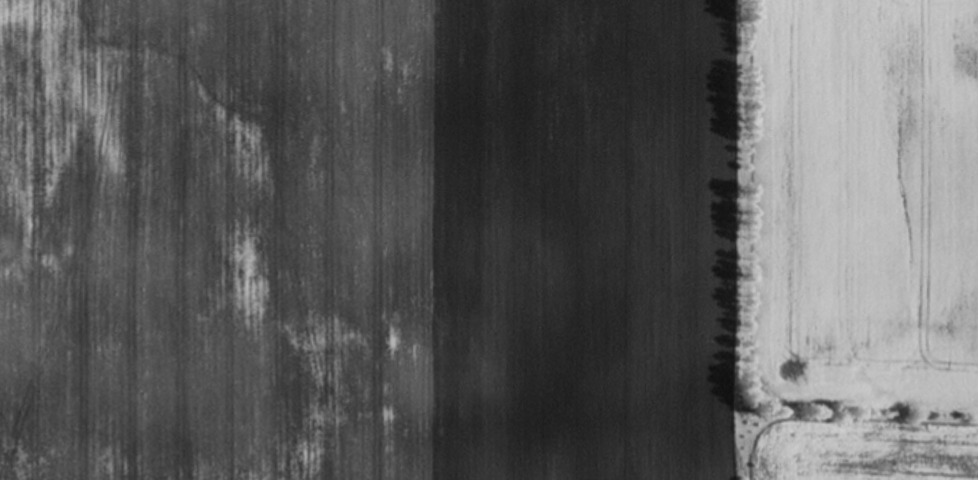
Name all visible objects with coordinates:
crop: (489, 240)

